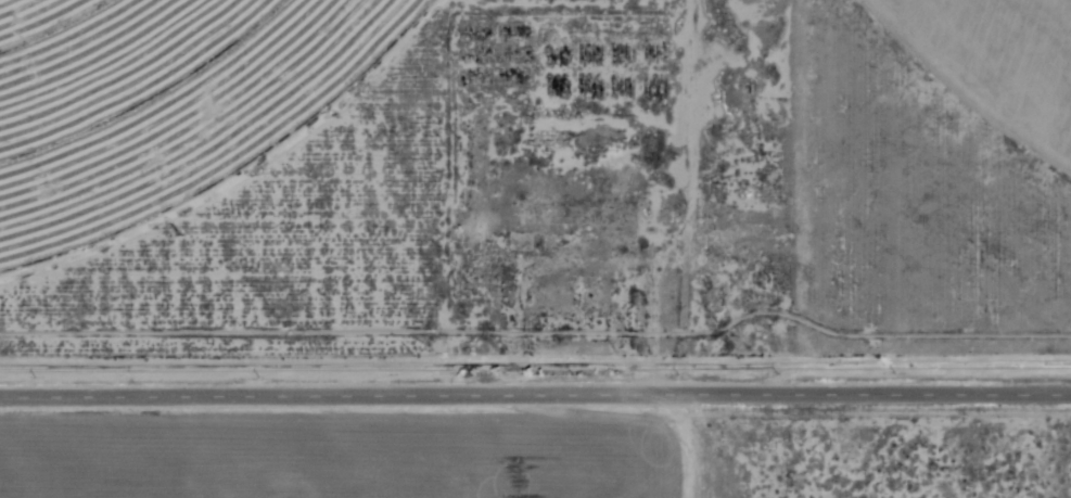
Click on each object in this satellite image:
crop: (997, 61)
crop: (160, 99)
road: (680, 192)
road: (535, 393)
road: (685, 442)

